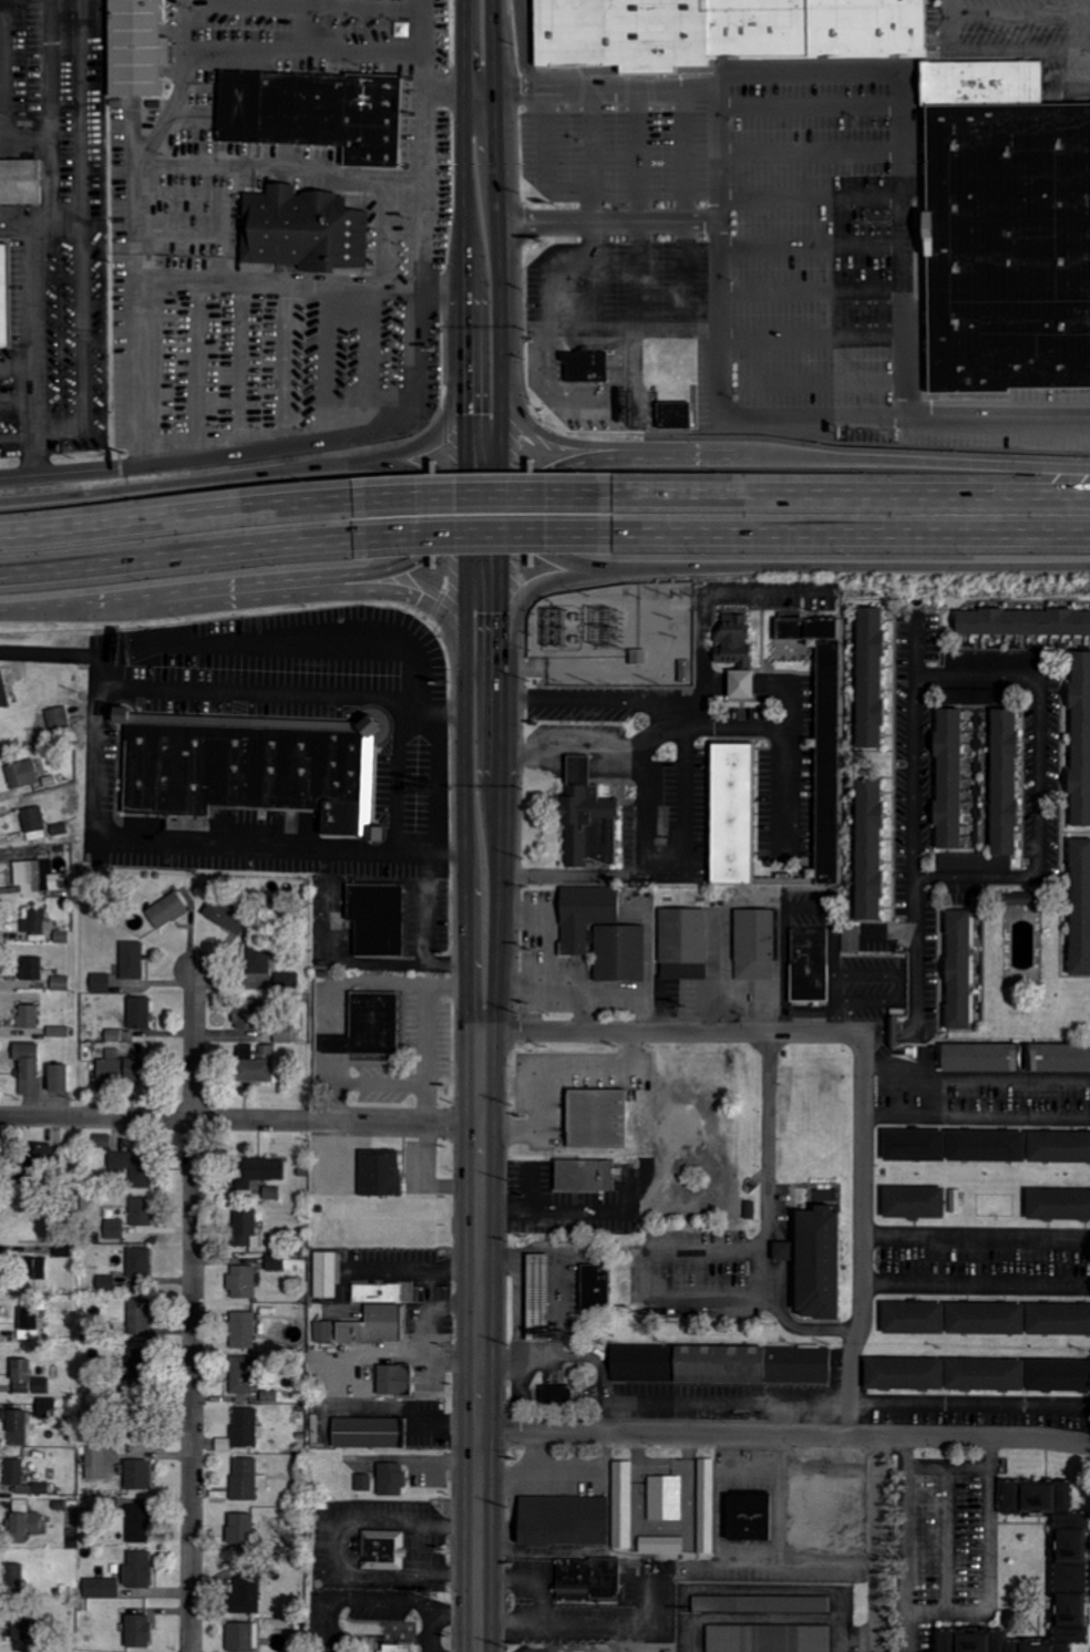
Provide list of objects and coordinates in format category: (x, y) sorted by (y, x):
road: (1021, 19)
building: (757, 30)
building: (867, 30)
building: (623, 34)
parking lot: (1030, 35)
building: (136, 47)
road: (277, 50)
road: (994, 55)
road: (422, 65)
building: (986, 82)
building: (316, 112)
road: (816, 114)
road: (909, 114)
road: (817, 157)
road: (142, 162)
road: (266, 163)
road: (553, 166)
building: (19, 180)
road: (817, 203)
road: (600, 210)
road: (687, 210)
road: (642, 211)
road: (422, 213)
road: (610, 223)
building: (302, 230)
building: (1009, 246)
road: (462, 249)
road: (498, 250)
road: (819, 251)
parking lot: (747, 282)
building: (3, 298)
road: (819, 299)
road: (638, 334)
road: (819, 341)
building: (349, 350)
road: (726, 351)
building: (583, 363)
road: (143, 376)
road: (819, 388)
road: (549, 397)
road: (34, 401)
traffic signals: (463, 415)
building: (673, 415)
road: (527, 422)
road: (430, 436)
road: (686, 455)
road: (926, 463)
road: (126, 464)
road: (398, 465)
road: (55, 471)
road: (552, 472)
road: (162, 486)
traffic signals: (526, 486)
road: (849, 494)
road: (477, 495)
road: (473, 506)
road: (492, 507)
road: (501, 513)
road: (463, 514)
road: (175, 518)
road: (492, 518)
road: (473, 519)
road: (849, 534)
road: (480, 535)
traffic signals: (439, 546)
road: (176, 558)
road: (403, 561)
road: (570, 561)
road: (870, 567)
road: (535, 587)
road: (220, 593)
road: (414, 596)
traffic signals: (421, 598)
road: (51, 608)
traffic signals: (501, 612)
building: (1021, 622)
building: (734, 639)
road: (227, 642)
road: (917, 646)
road: (100, 672)
building: (868, 678)
road: (979, 678)
building: (740, 684)
building: (3, 690)
road: (658, 716)
building: (59, 721)
building: (1079, 739)
road: (785, 741)
building: (820, 747)
building: (251, 766)
road: (99, 768)
building: (22, 774)
road: (916, 775)
road: (500, 778)
building: (947, 778)
road: (464, 779)
building: (1002, 782)
building: (732, 814)
building: (586, 817)
building: (34, 823)
road: (1040, 839)
building: (867, 849)
building: (976, 861)
road: (675, 868)
building: (39, 876)
building: (1018, 901)
building: (1079, 906)
building: (166, 910)
building: (376, 918)
building: (38, 922)
road: (425, 927)
building: (601, 933)
building: (682, 936)
building: (857, 937)
building: (754, 944)
building: (132, 960)
building: (258, 960)
building: (810, 963)
building: (31, 968)
building: (958, 968)
building: (683, 971)
road: (916, 980)
building: (286, 981)
building: (101, 982)
building: (62, 983)
building: (140, 1012)
building: (245, 1014)
building: (28, 1016)
building: (368, 1025)
building: (59, 1031)
building: (288, 1032)
road: (673, 1032)
road: (865, 1045)
building: (268, 1050)
road: (891, 1053)
building: (1015, 1057)
building: (253, 1066)
building: (28, 1068)
building: (122, 1070)
building: (56, 1078)
road: (977, 1081)
building: (597, 1117)
road: (239, 1119)
building: (102, 1140)
building: (913, 1145)
building: (985, 1146)
building: (1058, 1147)
building: (43, 1150)
building: (132, 1167)
building: (259, 1170)
building: (584, 1173)
building: (379, 1174)
building: (270, 1192)
building: (913, 1202)
building: (1058, 1205)
building: (142, 1211)
road: (770, 1217)
building: (115, 1229)
building: (246, 1229)
road: (864, 1246)
building: (62, 1250)
building: (781, 1251)
building: (819, 1260)
building: (140, 1262)
building: (276, 1262)
road: (414, 1267)
building: (33, 1269)
road: (648, 1272)
building: (325, 1274)
building: (243, 1281)
road: (977, 1282)
building: (594, 1286)
building: (543, 1297)
road: (193, 1310)
building: (377, 1314)
building: (140, 1317)
building: (29, 1319)
building: (912, 1319)
building: (984, 1319)
building: (1058, 1320)
building: (243, 1330)
building: (325, 1332)
road: (481, 1341)
building: (720, 1365)
building: (944, 1375)
building: (1057, 1376)
building: (28, 1380)
building: (394, 1380)
building: (556, 1396)
building: (48, 1407)
building: (17, 1427)
building: (245, 1427)
building: (368, 1433)
road: (784, 1435)
building: (95, 1463)
road: (950, 1465)
building: (137, 1475)
building: (22, 1478)
building: (244, 1479)
building: (391, 1479)
building: (363, 1483)
building: (666, 1498)
building: (624, 1505)
building: (706, 1506)
building: (748, 1518)
building: (563, 1521)
building: (23, 1522)
building: (138, 1524)
building: (240, 1531)
road: (878, 1543)
road: (909, 1545)
building: (382, 1550)
road: (993, 1563)
building: (137, 1570)
building: (1069, 1572)
building: (13, 1576)
building: (587, 1579)
building: (101, 1588)
building: (245, 1597)
building: (762, 1604)
building: (16, 1627)
building: (137, 1632)
building: (243, 1638)
building: (767, 1639)
building: (401, 1648)

